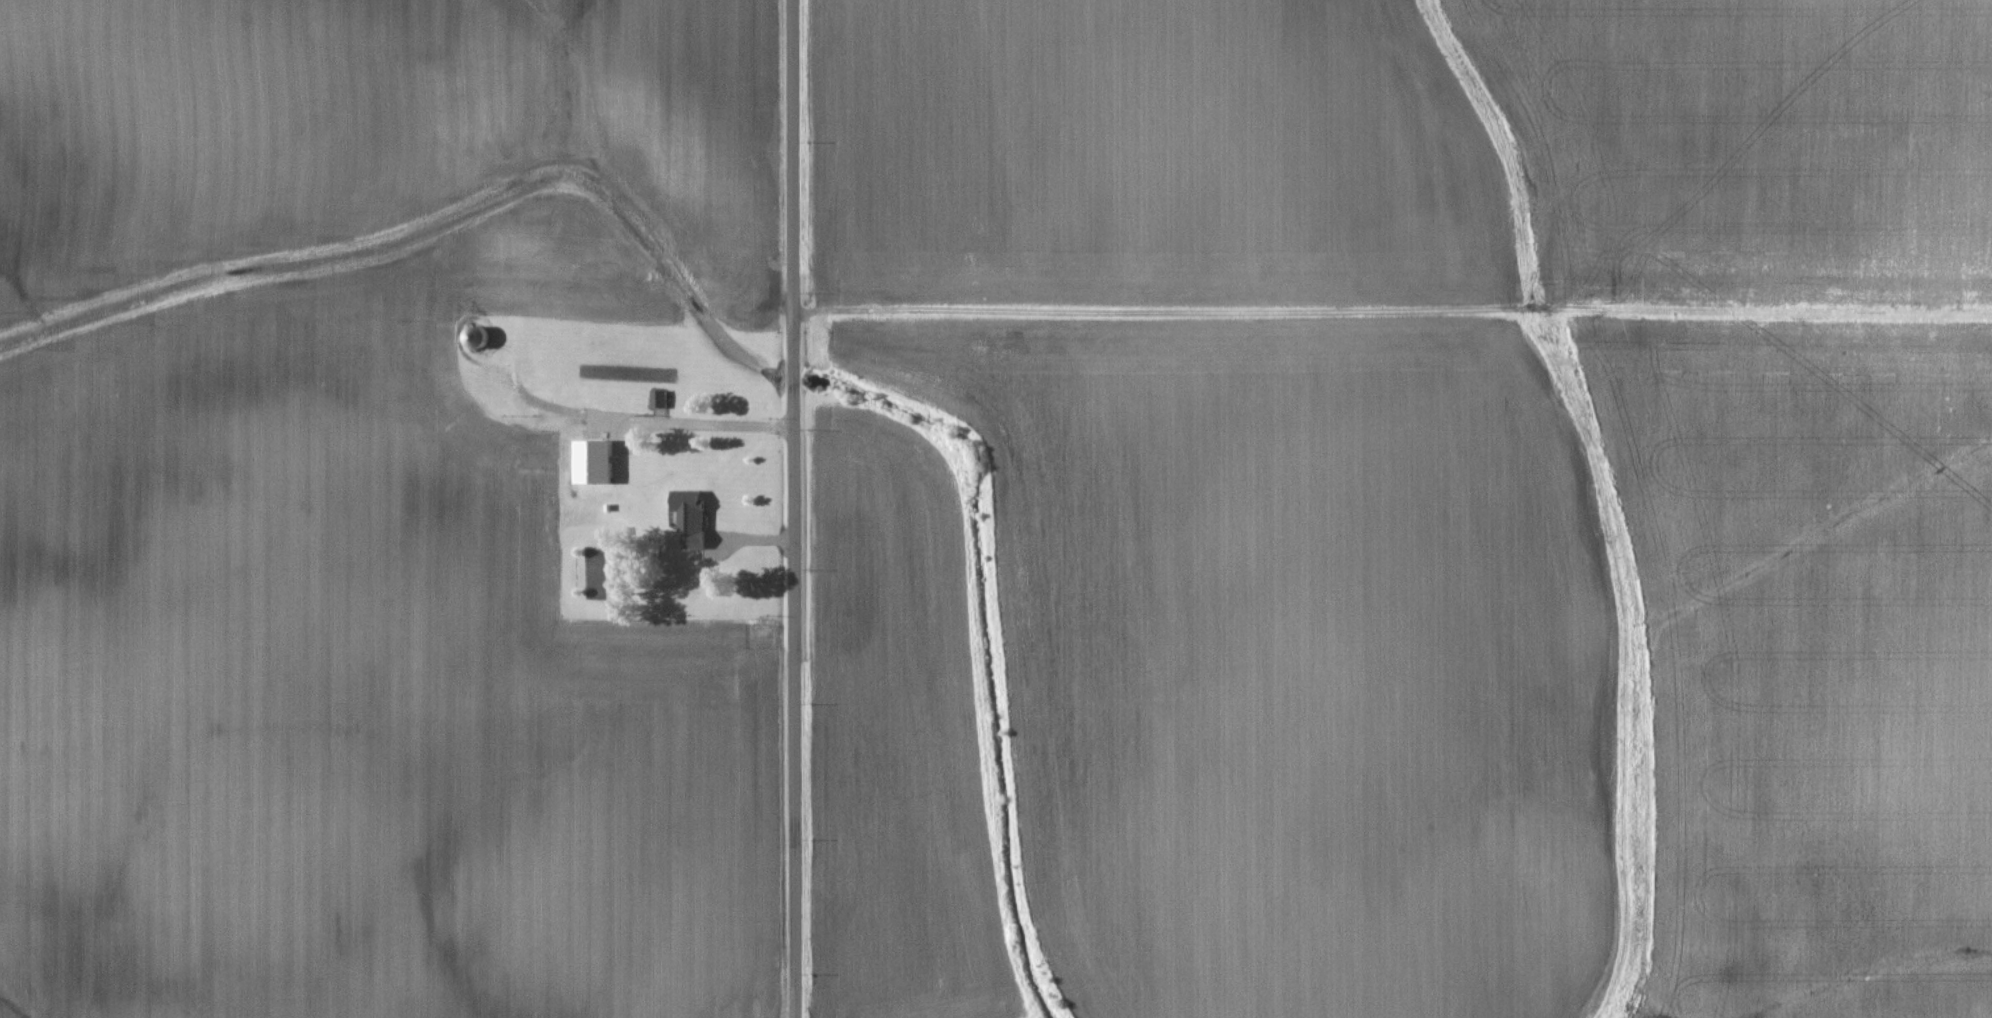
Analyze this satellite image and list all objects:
building: (662, 401)
road: (709, 426)
road: (797, 508)

